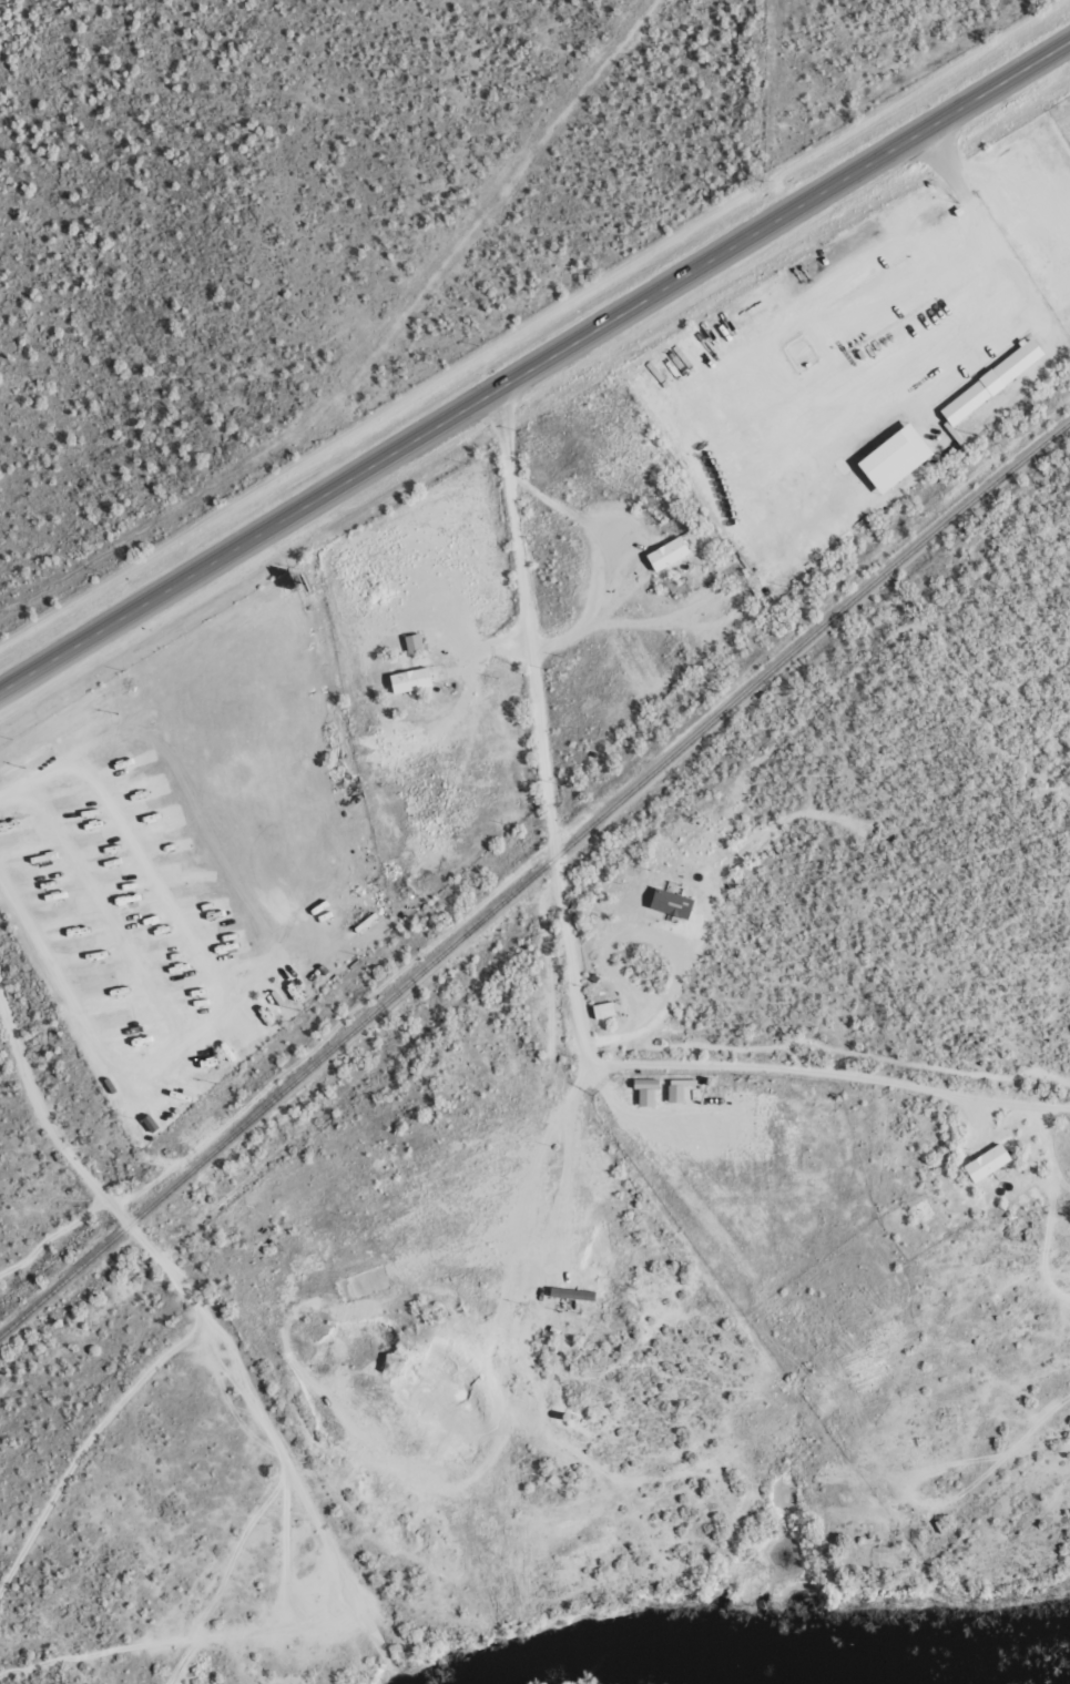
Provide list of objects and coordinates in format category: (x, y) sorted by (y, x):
road: (531, 365)
building: (991, 382)
building: (895, 458)
building: (668, 554)
building: (412, 643)
building: (410, 681)
railway: (533, 872)
building: (671, 904)
building: (603, 1011)
road: (832, 1073)
building: (645, 1092)
building: (675, 1095)
building: (987, 1164)
building: (572, 1295)
road: (489, 1331)
river: (624, 1654)

